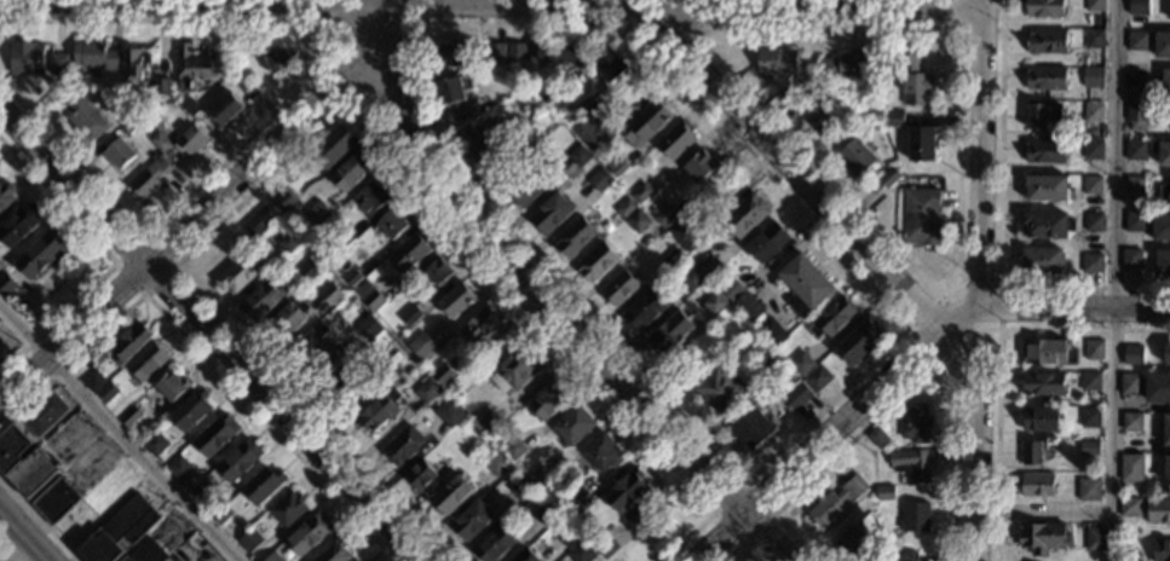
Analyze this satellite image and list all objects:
road: (385, 5)
building: (1095, 5)
building: (1137, 7)
building: (1045, 8)
building: (1168, 8)
road: (490, 10)
road: (542, 24)
road: (662, 27)
road: (784, 27)
road: (967, 28)
road: (367, 30)
building: (1094, 39)
building: (1137, 40)
building: (1047, 41)
building: (1162, 45)
building: (515, 51)
building: (496, 52)
building: (555, 52)
building: (451, 54)
building: (94, 56)
building: (277, 58)
building: (35, 59)
building: (777, 62)
building: (845, 64)
building: (134, 65)
building: (194, 65)
building: (609, 66)
building: (1093, 76)
building: (1137, 76)
building: (913, 77)
building: (1047, 77)
road: (340, 81)
building: (1166, 81)
building: (161, 87)
building: (789, 89)
building: (250, 91)
building: (808, 92)
road: (298, 93)
building: (454, 99)
building: (146, 103)
road: (345, 103)
building: (584, 105)
building: (190, 106)
building: (226, 109)
building: (80, 111)
building: (1093, 112)
building: (1042, 116)
building: (1136, 117)
building: (894, 118)
building: (818, 120)
building: (131, 122)
building: (646, 122)
building: (547, 129)
building: (590, 131)
building: (503, 135)
building: (191, 139)
building: (675, 140)
building: (471, 141)
building: (160, 143)
building: (921, 143)
building: (333, 144)
building: (1093, 150)
building: (1147, 150)
road: (978, 151)
building: (1045, 151)
building: (119, 154)
building: (152, 156)
building: (578, 156)
building: (855, 157)
building: (701, 166)
building: (618, 168)
road: (795, 169)
building: (351, 173)
building: (150, 178)
building: (888, 178)
building: (599, 180)
building: (1093, 185)
building: (1134, 185)
building: (528, 186)
building: (1047, 187)
building: (641, 193)
building: (6, 195)
building: (370, 198)
building: (283, 199)
building: (1169, 199)
building: (626, 208)
road: (198, 214)
building: (551, 214)
building: (318, 215)
building: (662, 215)
building: (744, 216)
building: (921, 216)
building: (259, 221)
building: (638, 221)
building: (1135, 221)
building: (1093, 222)
building: (391, 224)
building: (18, 225)
building: (1048, 225)
building: (1162, 227)
road: (998, 229)
building: (681, 233)
building: (574, 237)
building: (344, 241)
building: (289, 242)
building: (767, 242)
building: (40, 254)
building: (409, 255)
building: (672, 258)
road: (113, 259)
building: (1130, 259)
building: (1042, 261)
building: (596, 262)
building: (1091, 262)
building: (1163, 264)
building: (709, 265)
road: (172, 266)
building: (307, 271)
building: (438, 272)
building: (238, 273)
building: (351, 278)
building: (692, 279)
building: (6, 284)
building: (803, 284)
road: (997, 285)
building: (618, 288)
building: (330, 295)
building: (265, 297)
building: (374, 300)
building: (456, 301)
road: (551, 303)
building: (714, 303)
building: (748, 306)
road: (1072, 306)
building: (644, 310)
building: (410, 316)
building: (831, 318)
building: (287, 322)
road: (909, 324)
building: (479, 325)
road: (1113, 325)
building: (373, 330)
building: (772, 331)
road: (209, 332)
building: (669, 332)
road: (975, 336)
building: (426, 341)
building: (857, 341)
building: (131, 343)
building: (312, 349)
building: (1094, 351)
building: (1047, 353)
building: (1168, 353)
road: (201, 355)
building: (1132, 355)
road: (997, 358)
building: (146, 363)
building: (801, 364)
building: (772, 365)
building: (514, 368)
building: (387, 370)
building: (443, 374)
building: (817, 377)
building: (93, 381)
building: (1089, 382)
building: (345, 384)
building: (1044, 384)
building: (1129, 384)
building: (172, 386)
road: (907, 386)
building: (1157, 388)
building: (717, 389)
building: (427, 391)
building: (108, 392)
building: (796, 397)
building: (549, 401)
building: (191, 411)
building: (377, 412)
building: (42, 413)
building: (449, 413)
building: (129, 416)
building: (1090, 417)
building: (1039, 418)
building: (913, 422)
building: (1131, 422)
building: (489, 423)
building: (462, 424)
building: (575, 426)
building: (751, 428)
road: (830, 428)
building: (1164, 429)
road: (117, 435)
building: (215, 435)
building: (876, 436)
road: (974, 436)
building: (155, 444)
building: (402, 446)
building: (1089, 449)
building: (513, 450)
building: (1031, 452)
building: (604, 453)
building: (238, 461)
building: (23, 462)
building: (495, 462)
building: (1131, 463)
building: (911, 465)
building: (1166, 468)
building: (181, 472)
building: (419, 475)
building: (540, 478)
road: (744, 481)
building: (1122, 481)
building: (263, 484)
building: (1036, 485)
building: (520, 488)
building: (1090, 488)
building: (201, 492)
building: (627, 492)
building: (883, 492)
building: (450, 495)
building: (56, 501)
building: (836, 502)
building: (567, 505)
building: (1130, 507)
building: (288, 508)
building: (1158, 511)
building: (543, 513)
building: (221, 514)
road: (40, 516)
building: (632, 517)
building: (913, 517)
building: (472, 521)
building: (119, 531)
road: (24, 533)
building: (307, 534)
building: (1043, 537)
building: (570, 539)
building: (249, 540)
building: (1096, 540)
road: (740, 543)
building: (853, 543)
building: (494, 545)
building: (605, 546)
building: (1160, 550)
building: (334, 551)
building: (145, 553)
building: (580, 553)
building: (523, 555)
building: (906, 556)
building: (272, 557)
building: (361, 560)
building: (880, 560)
building: (1126, 560)

